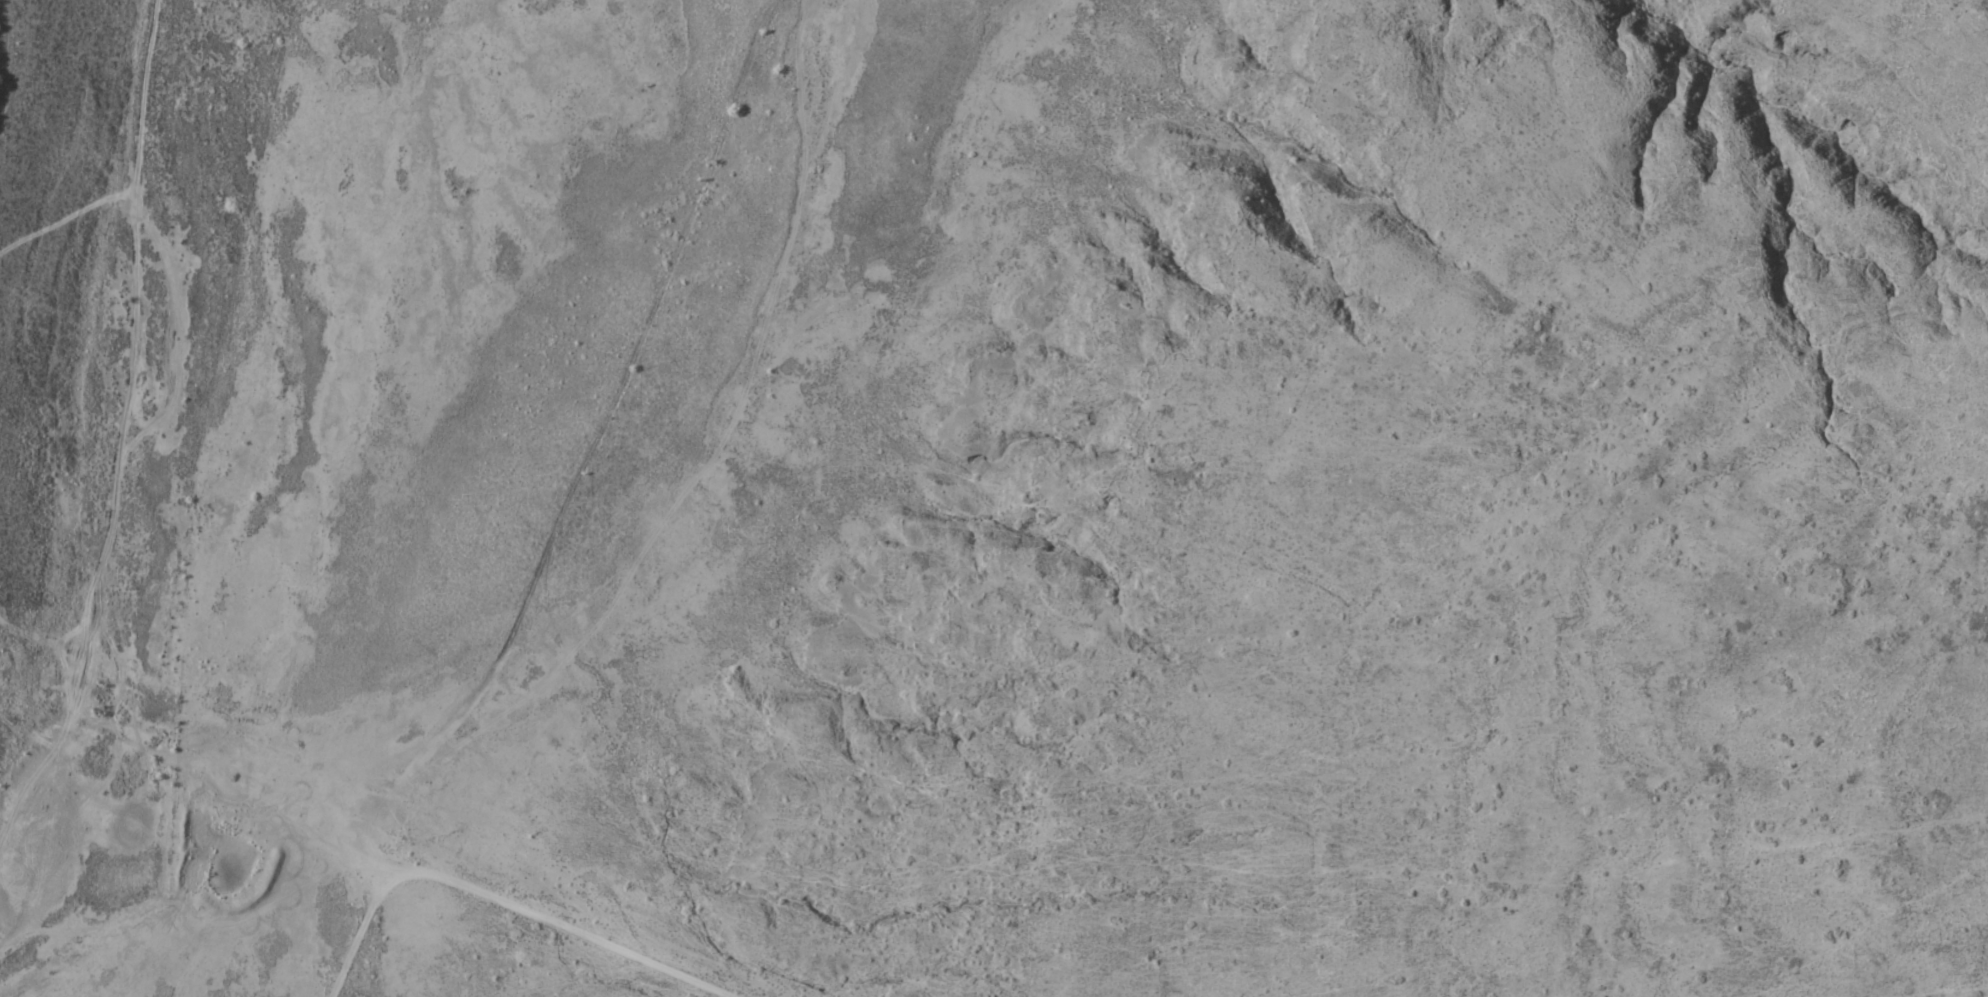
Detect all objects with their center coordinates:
road: (755, 45)
road: (130, 340)
road: (358, 932)
road: (533, 932)

